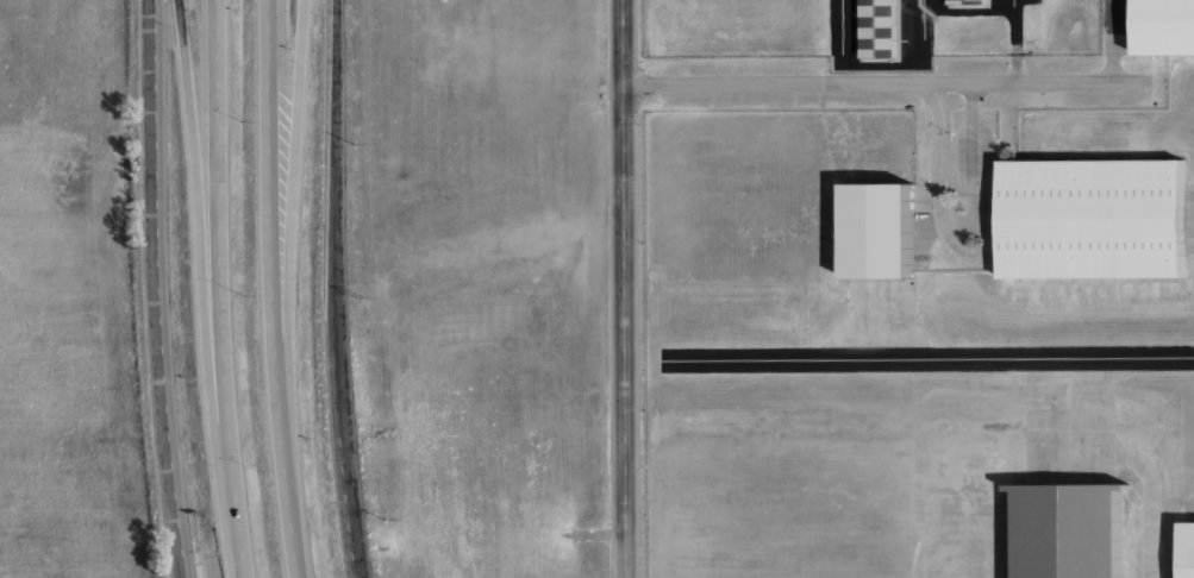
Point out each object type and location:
building: (969, 1)
building: (1165, 27)
building: (880, 29)
airport apron: (895, 31)
road: (1013, 31)
road: (1015, 69)
road: (1113, 69)
road: (883, 84)
road: (973, 96)
road: (936, 193)
road: (925, 196)
building: (1095, 219)
airport apron: (1189, 219)
building: (881, 230)
road: (202, 253)
road: (289, 266)
road: (621, 288)
airport: (918, 288)
road: (158, 289)
road: (221, 289)
road: (271, 289)
road: (333, 289)
airport taxiway: (927, 359)
road: (1150, 504)
building: (1061, 532)
building: (1187, 549)

